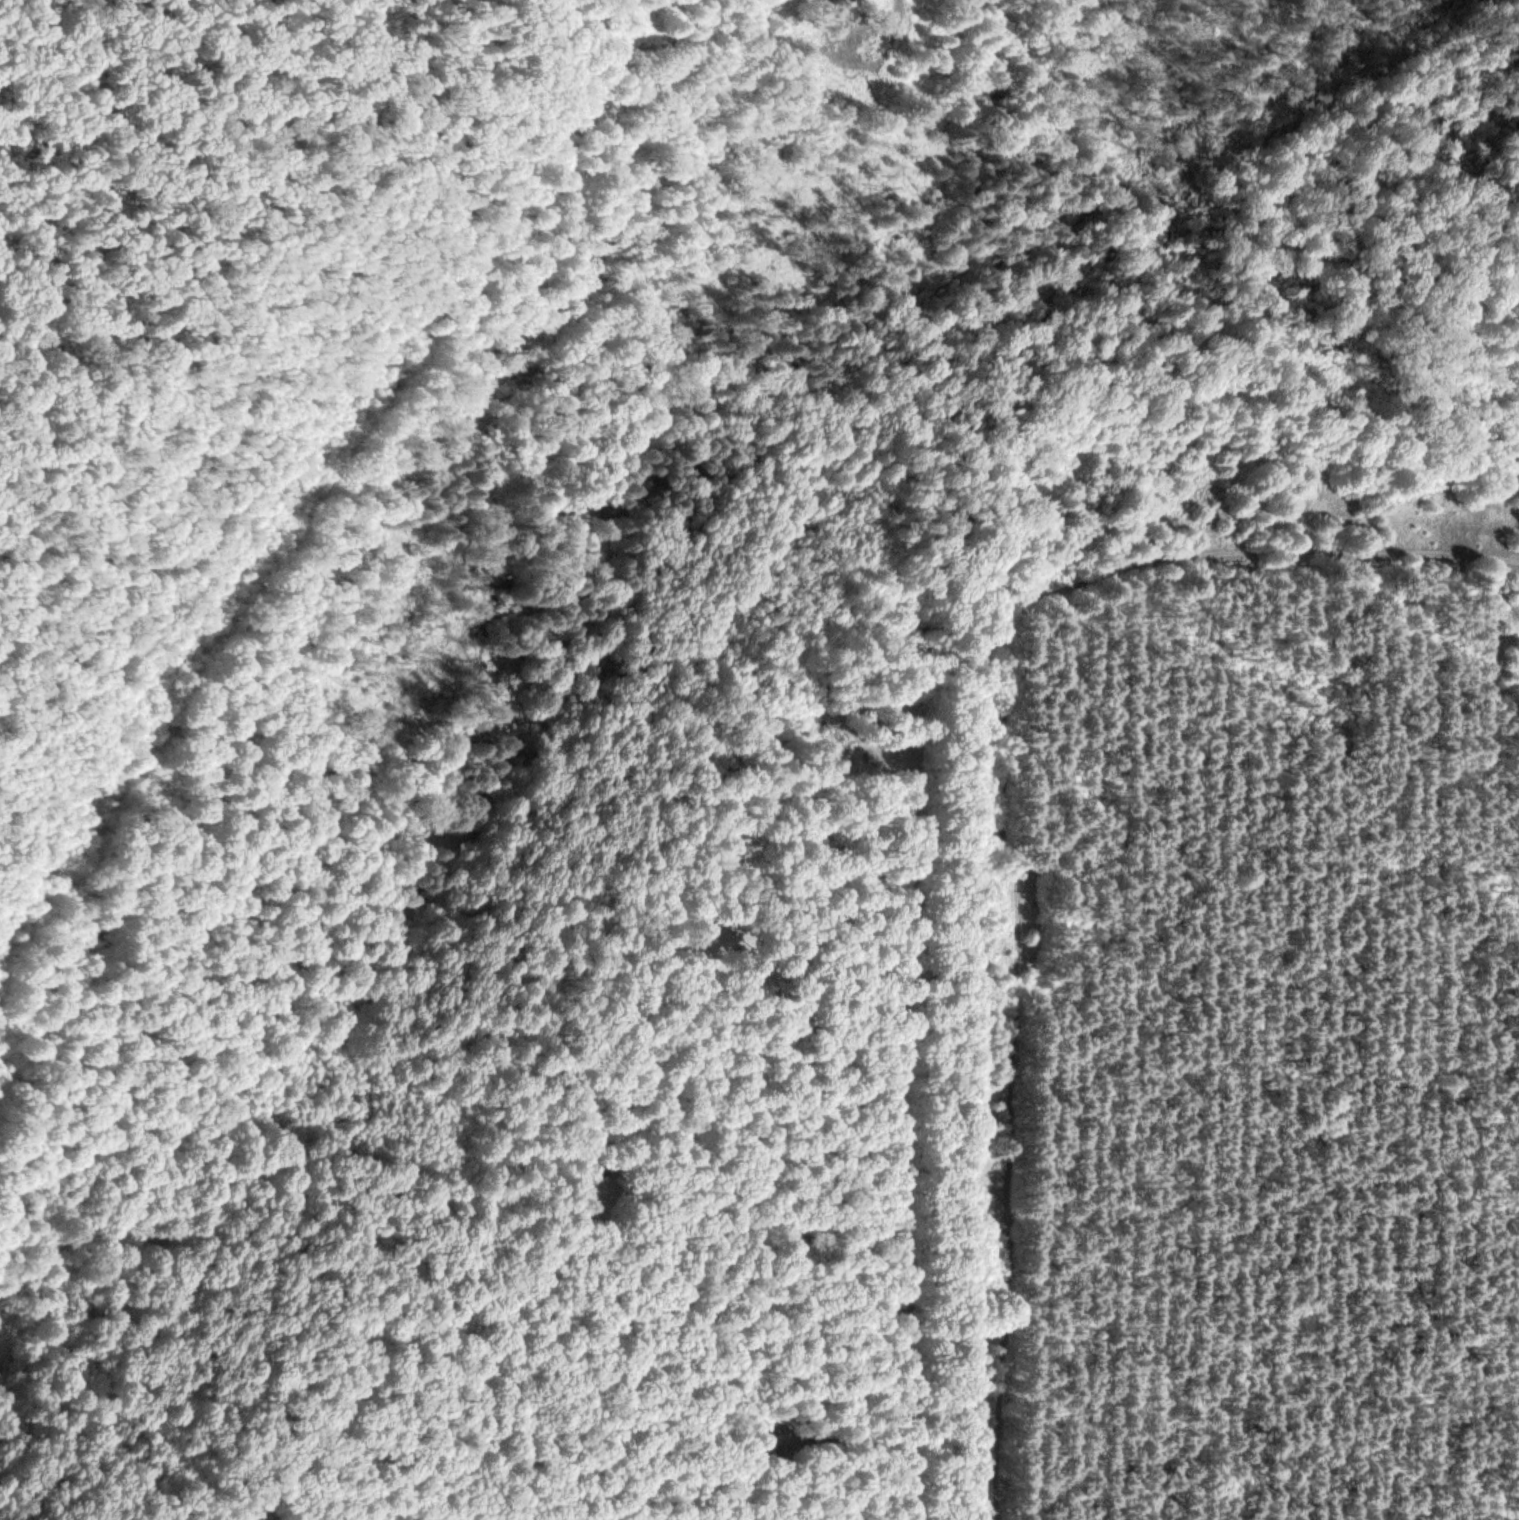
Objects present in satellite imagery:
road: (695, 42)
road: (279, 477)
road: (1024, 816)
road: (908, 940)
building: (759, 1449)

